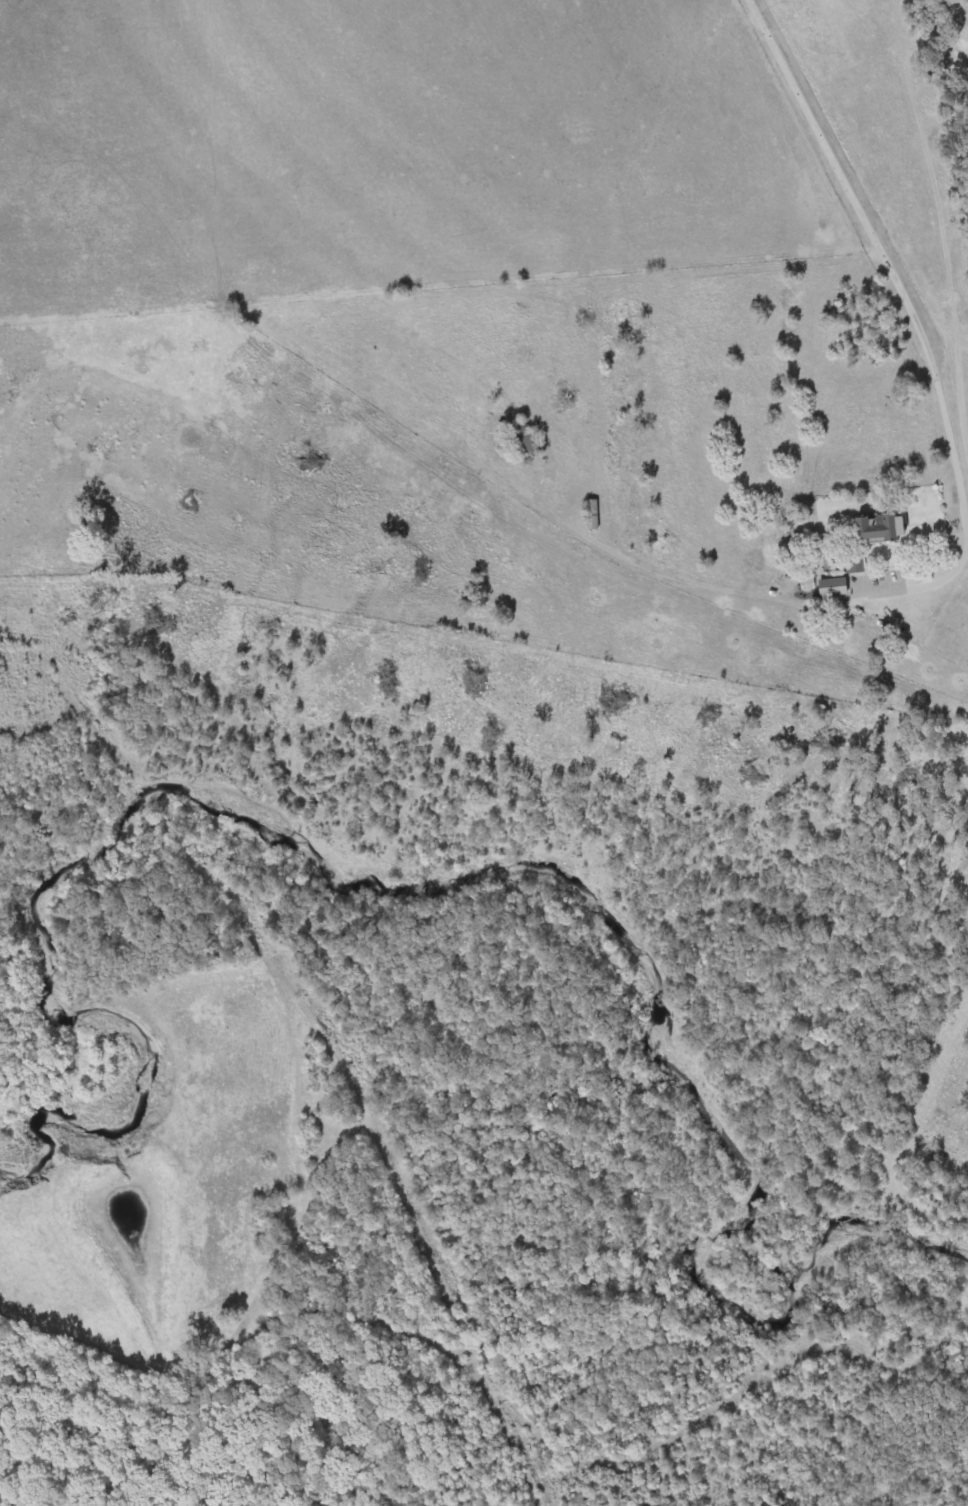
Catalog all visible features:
road: (916, 321)
building: (523, 443)
building: (593, 513)
building: (882, 529)
building: (833, 586)

